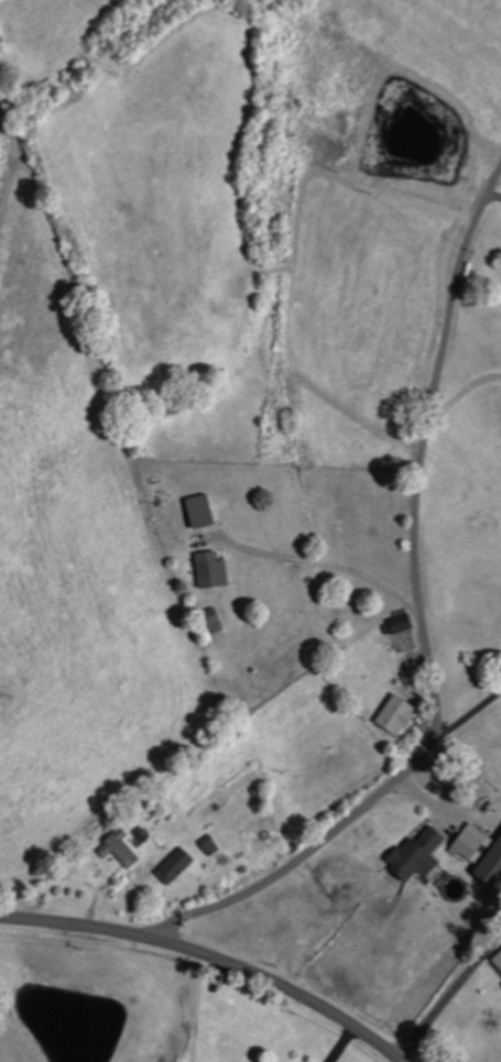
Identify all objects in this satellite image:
building: (198, 511)
building: (209, 570)
building: (210, 622)
building: (397, 624)
road: (428, 632)
building: (394, 715)
building: (467, 841)
building: (208, 845)
building: (118, 848)
building: (414, 855)
building: (490, 864)
building: (173, 866)
road: (211, 959)

